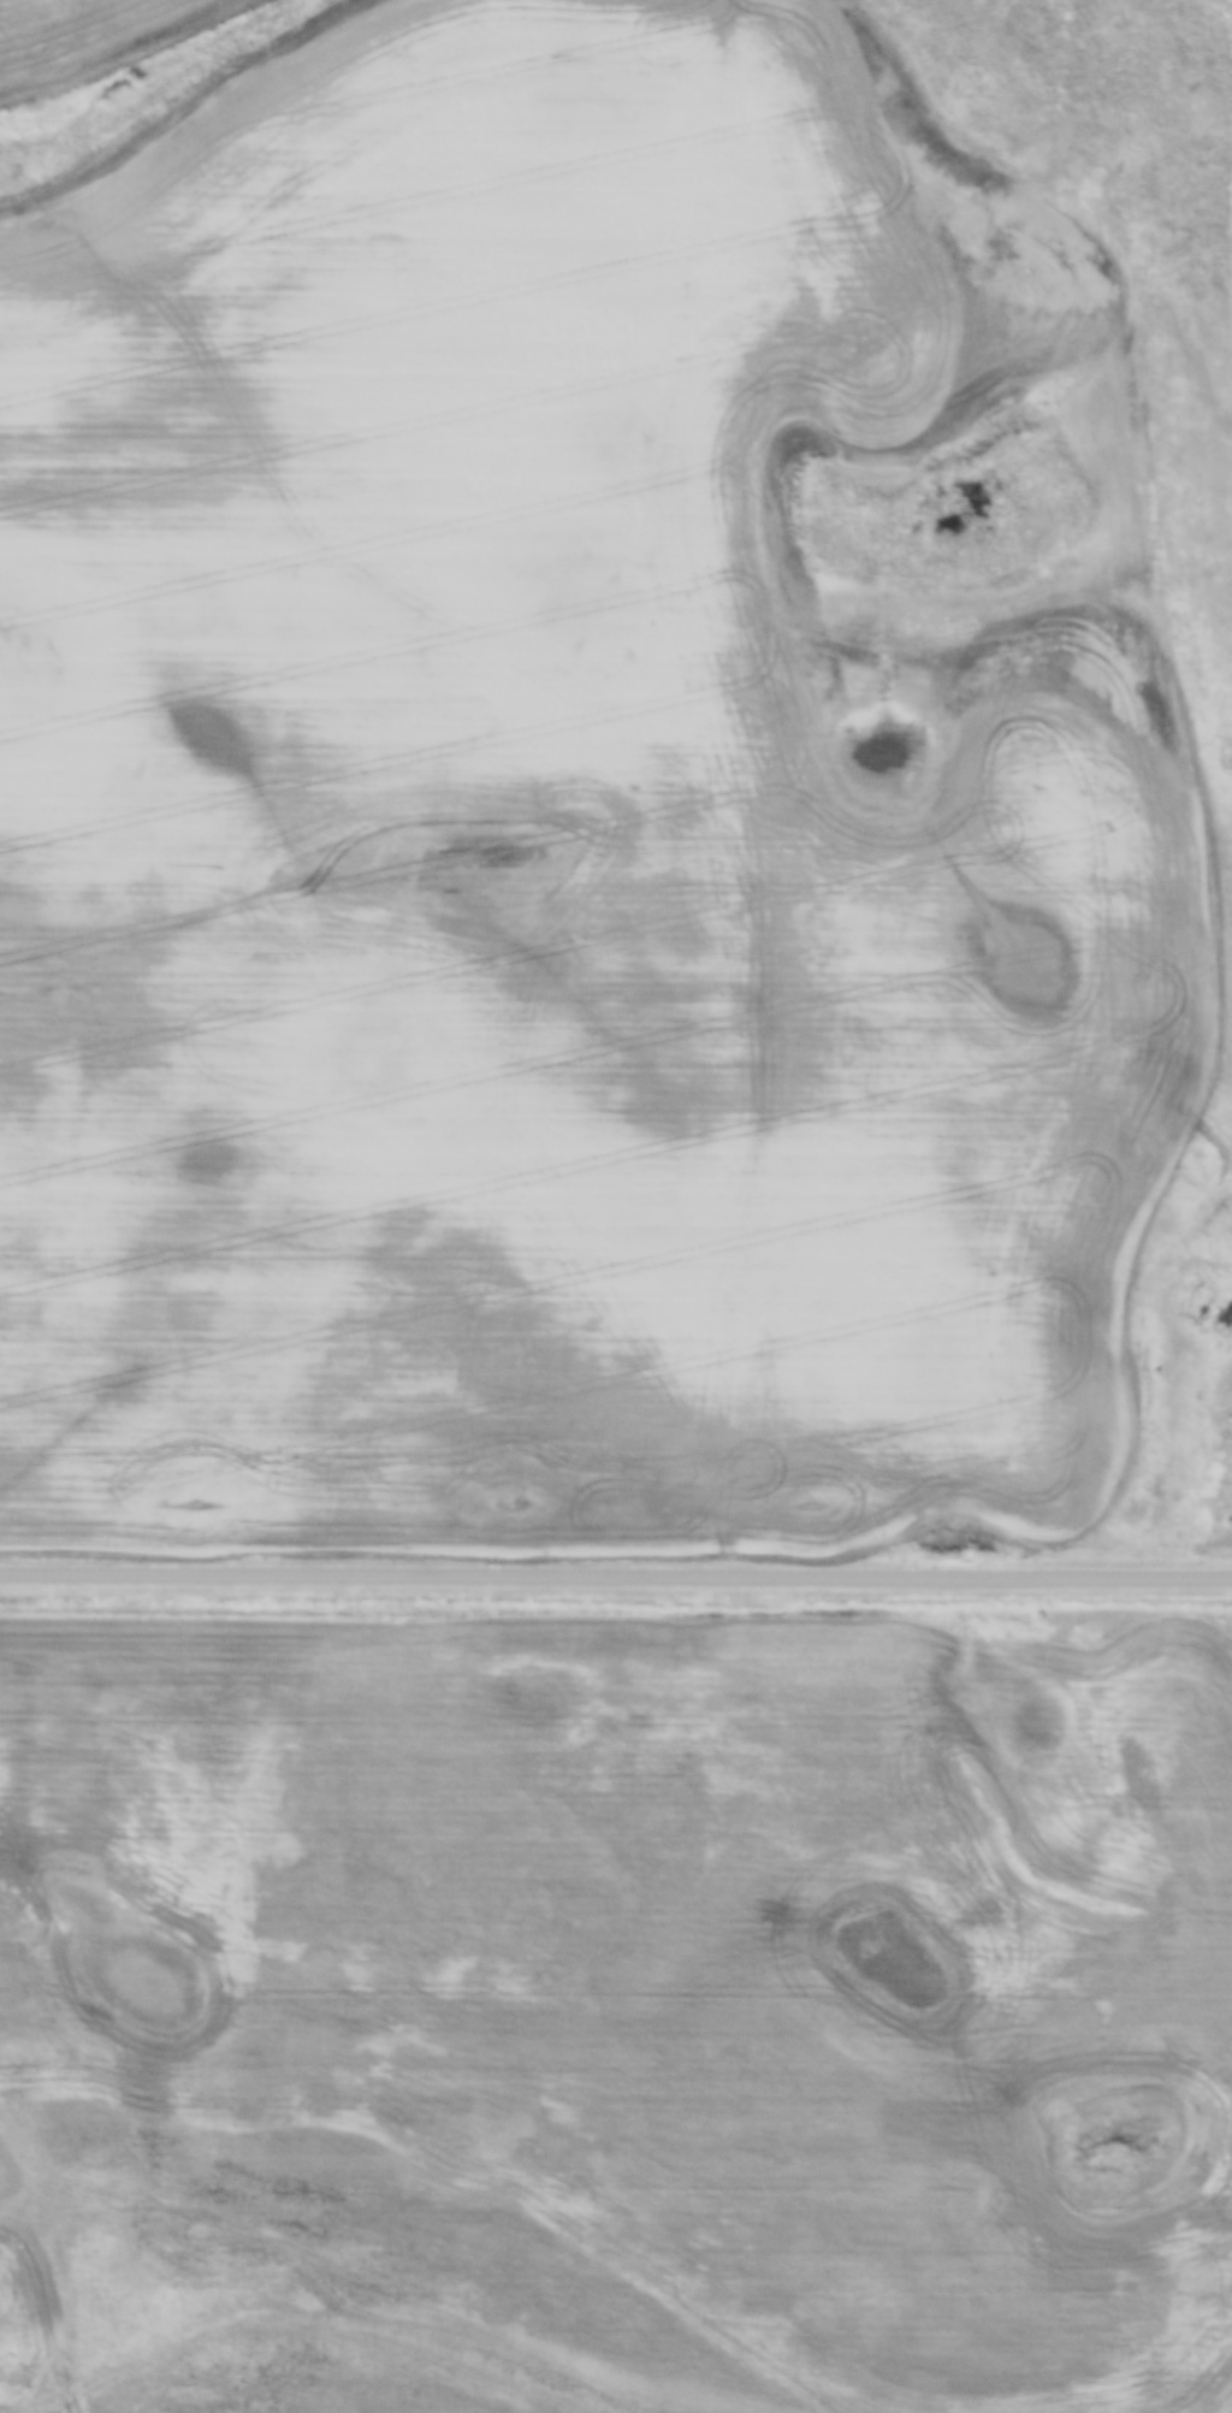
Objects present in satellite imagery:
road: (615, 1579)

